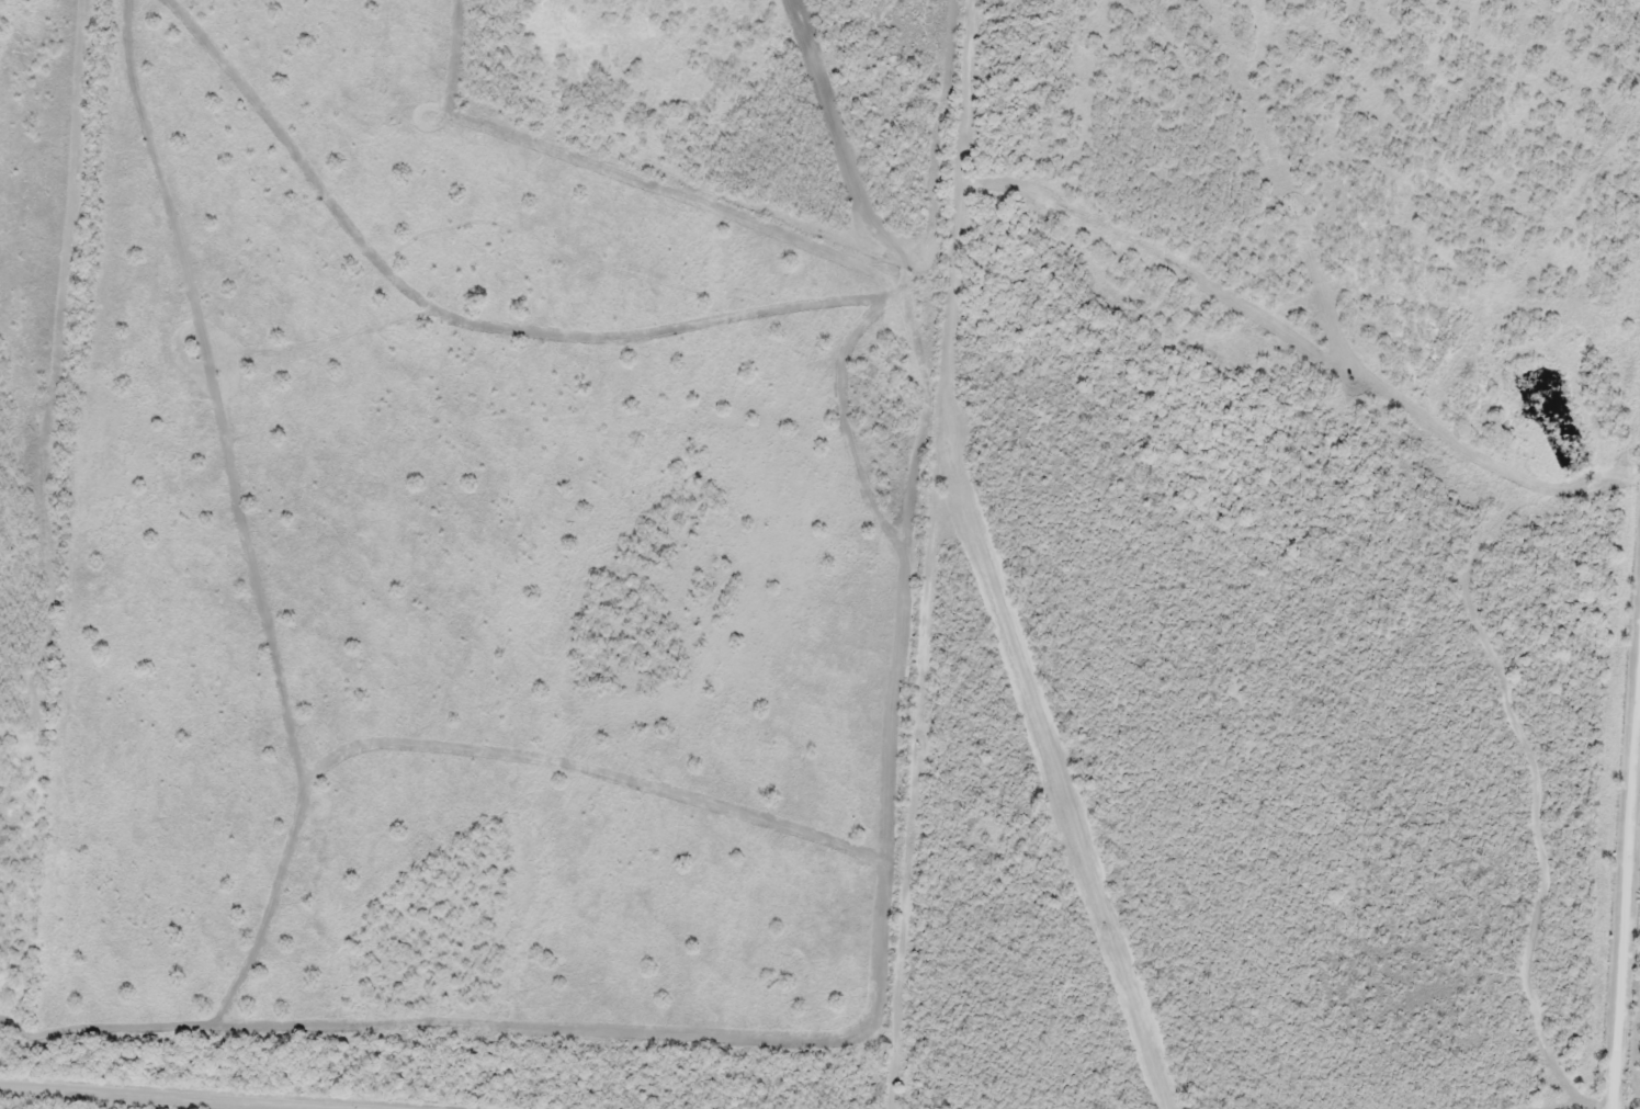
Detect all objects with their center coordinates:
road: (1632, 982)

